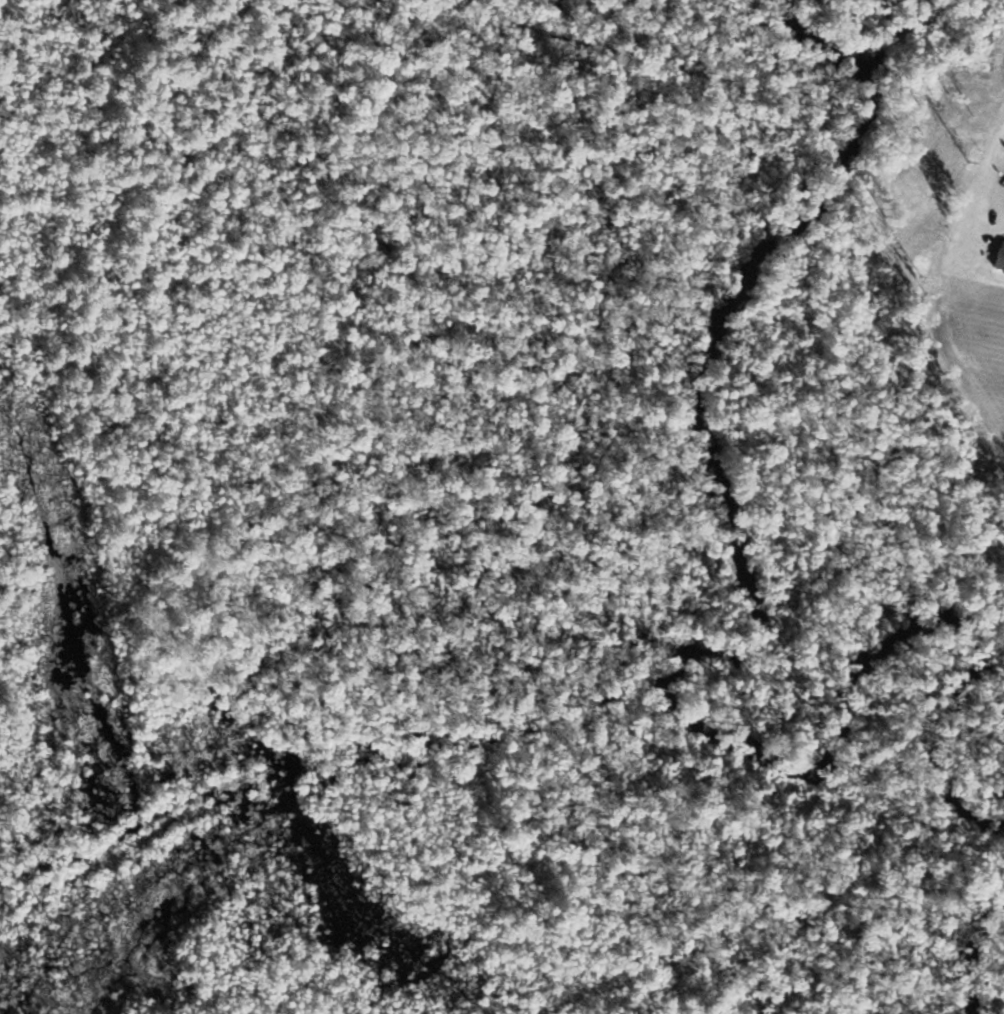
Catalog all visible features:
building: (998, 257)
river: (741, 542)
river: (964, 938)

